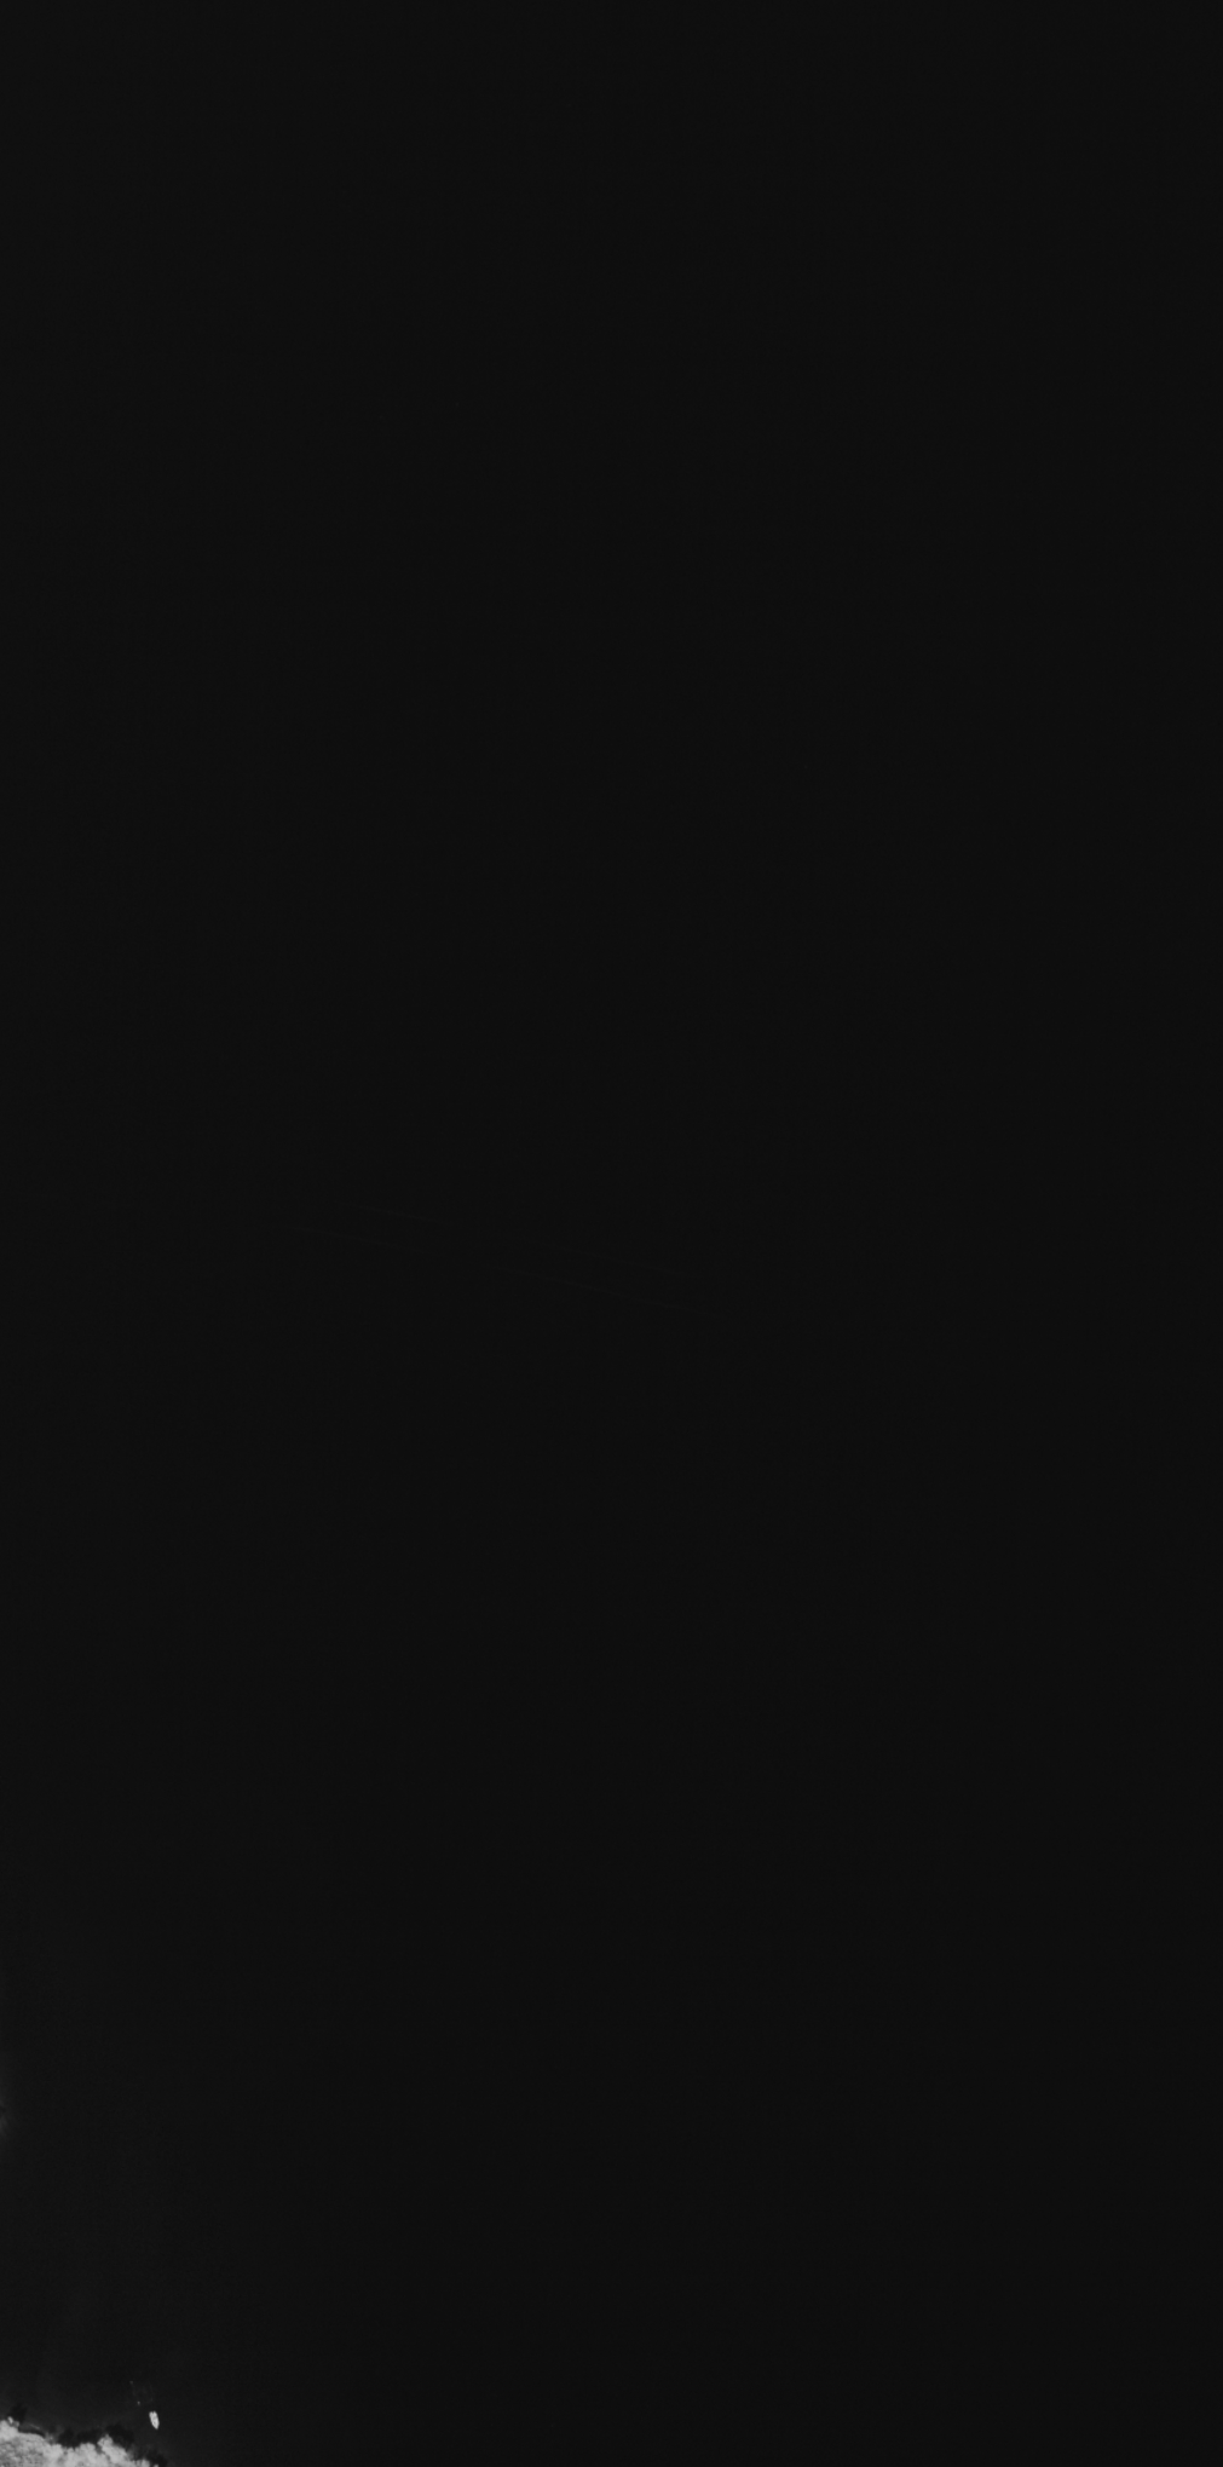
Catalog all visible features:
park: (67, 2452)

